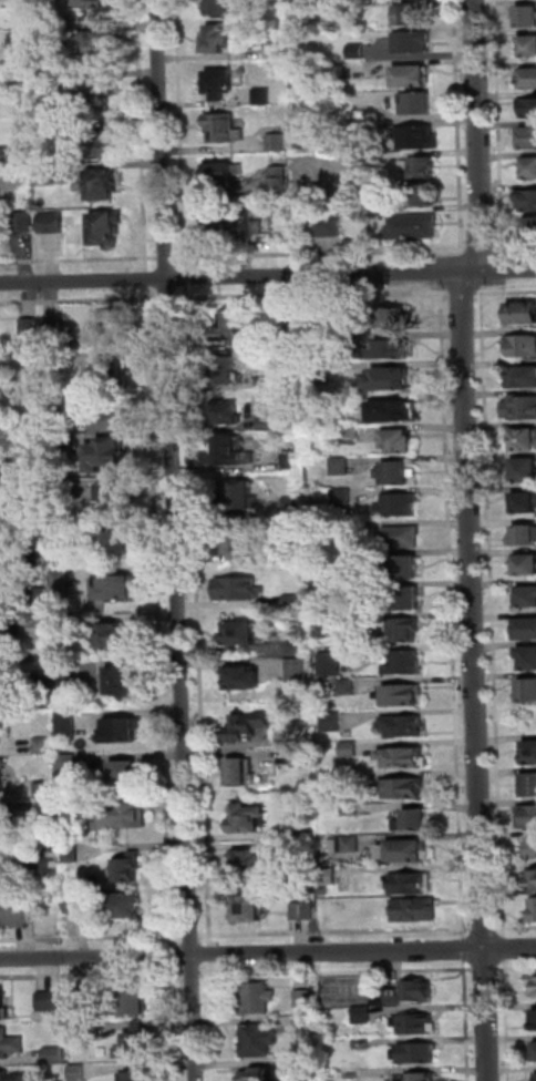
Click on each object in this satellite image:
building: (21, 4)
building: (100, 6)
building: (220, 8)
building: (411, 16)
building: (527, 18)
building: (43, 31)
building: (217, 40)
building: (100, 43)
building: (411, 43)
building: (20, 45)
building: (528, 47)
building: (278, 49)
building: (357, 50)
building: (413, 78)
building: (44, 80)
building: (526, 80)
building: (219, 84)
building: (99, 91)
building: (261, 96)
building: (416, 103)
building: (526, 109)
building: (45, 129)
building: (223, 130)
road: (476, 133)
road: (181, 134)
road: (142, 135)
building: (418, 140)
building: (528, 140)
building: (277, 143)
building: (363, 145)
building: (104, 149)
building: (7, 155)
building: (365, 161)
building: (420, 169)
building: (529, 169)
building: (50, 175)
building: (221, 177)
building: (278, 182)
building: (104, 186)
building: (425, 196)
building: (527, 202)
building: (369, 205)
building: (25, 223)
building: (54, 224)
building: (234, 225)
building: (330, 228)
building: (413, 228)
building: (529, 230)
building: (106, 231)
road: (442, 251)
road: (464, 251)
road: (473, 251)
road: (443, 254)
road: (165, 258)
road: (79, 261)
road: (498, 268)
road: (441, 269)
road: (230, 275)
road: (186, 277)
road: (503, 277)
road: (147, 279)
road: (503, 288)
road: (505, 292)
road: (462, 293)
road: (310, 295)
road: (167, 299)
road: (79, 300)
building: (523, 315)
building: (286, 318)
building: (391, 320)
building: (29, 327)
building: (229, 327)
building: (54, 332)
building: (111, 333)
building: (349, 341)
building: (523, 347)
building: (389, 350)
building: (55, 361)
building: (226, 373)
building: (113, 375)
building: (524, 379)
building: (390, 380)
building: (266, 384)
building: (33, 388)
building: (59, 406)
building: (346, 407)
building: (520, 408)
building: (393, 414)
building: (228, 416)
building: (113, 421)
building: (267, 424)
building: (27, 429)
building: (350, 436)
building: (525, 442)
building: (399, 443)
building: (59, 448)
building: (230, 453)
building: (109, 455)
building: (291, 462)
building: (341, 467)
building: (35, 471)
building: (526, 472)
building: (396, 476)
building: (114, 499)
building: (239, 499)
building: (342, 499)
building: (525, 506)
building: (398, 507)
building: (292, 508)
building: (37, 511)
building: (354, 527)
building: (62, 532)
building: (238, 537)
building: (402, 538)
building: (524, 538)
road: (175, 540)
building: (115, 544)
building: (292, 555)
building: (38, 559)
building: (354, 560)
building: (524, 567)
building: (405, 570)
building: (62, 584)
building: (117, 589)
building: (237, 590)
building: (528, 599)
building: (409, 601)
building: (39, 603)
building: (293, 603)
road: (452, 610)
road: (198, 615)
road: (492, 615)
road: (159, 618)
building: (1, 628)
building: (41, 629)
building: (65, 629)
building: (319, 629)
building: (408, 632)
building: (525, 632)
building: (244, 635)
building: (121, 639)
building: (298, 650)
building: (528, 660)
building: (330, 664)
building: (404, 665)
building: (297, 672)
road: (475, 674)
building: (66, 675)
building: (124, 681)
building: (244, 681)
building: (348, 689)
building: (527, 692)
building: (401, 697)
building: (332, 722)
building: (2, 723)
building: (68, 727)
building: (248, 727)
building: (403, 727)
building: (124, 733)
building: (0, 741)
building: (43, 746)
building: (349, 749)
building: (532, 755)
building: (301, 759)
building: (403, 761)
building: (69, 763)
building: (243, 773)
building: (2, 776)
building: (125, 776)
building: (350, 781)
building: (530, 786)
building: (44, 789)
building: (406, 789)
building: (70, 806)
building: (351, 810)
building: (49, 813)
building: (126, 816)
building: (527, 818)
building: (247, 820)
building: (413, 822)
building: (6, 824)
building: (299, 832)
building: (350, 845)
building: (532, 849)
building: (403, 854)
building: (72, 855)
building: (50, 863)
building: (251, 865)
building: (127, 869)
building: (329, 877)
building: (4, 880)
building: (530, 883)
building: (410, 885)
building: (326, 893)
building: (79, 904)
building: (126, 908)
building: (303, 911)
building: (14, 912)
building: (249, 912)
building: (415, 912)
building: (534, 912)
road: (515, 928)
road: (483, 929)
road: (334, 932)
road: (190, 936)
road: (91, 937)
road: (464, 944)
road: (504, 944)
road: (210, 950)
road: (267, 952)
road: (173, 956)
road: (188, 973)
road: (92, 976)
building: (533, 983)
park: (348, 990)
building: (420, 996)
building: (257, 1000)
building: (305, 1000)
building: (80, 1001)
building: (51, 1002)
building: (137, 1006)
building: (3, 1008)
building: (363, 1017)
building: (532, 1017)
road: (175, 1022)
building: (305, 1024)
building: (415, 1026)
building: (81, 1031)
building: (258, 1041)
building: (363, 1043)
building: (10, 1044)
building: (138, 1046)
building: (534, 1049)
building: (55, 1055)
building: (416, 1055)
building: (309, 1068)
building: (79, 1072)
building: (534, 1073)
building: (258, 1074)
building: (12, 1078)
building: (137, 1078)
building: (421, 1078)

